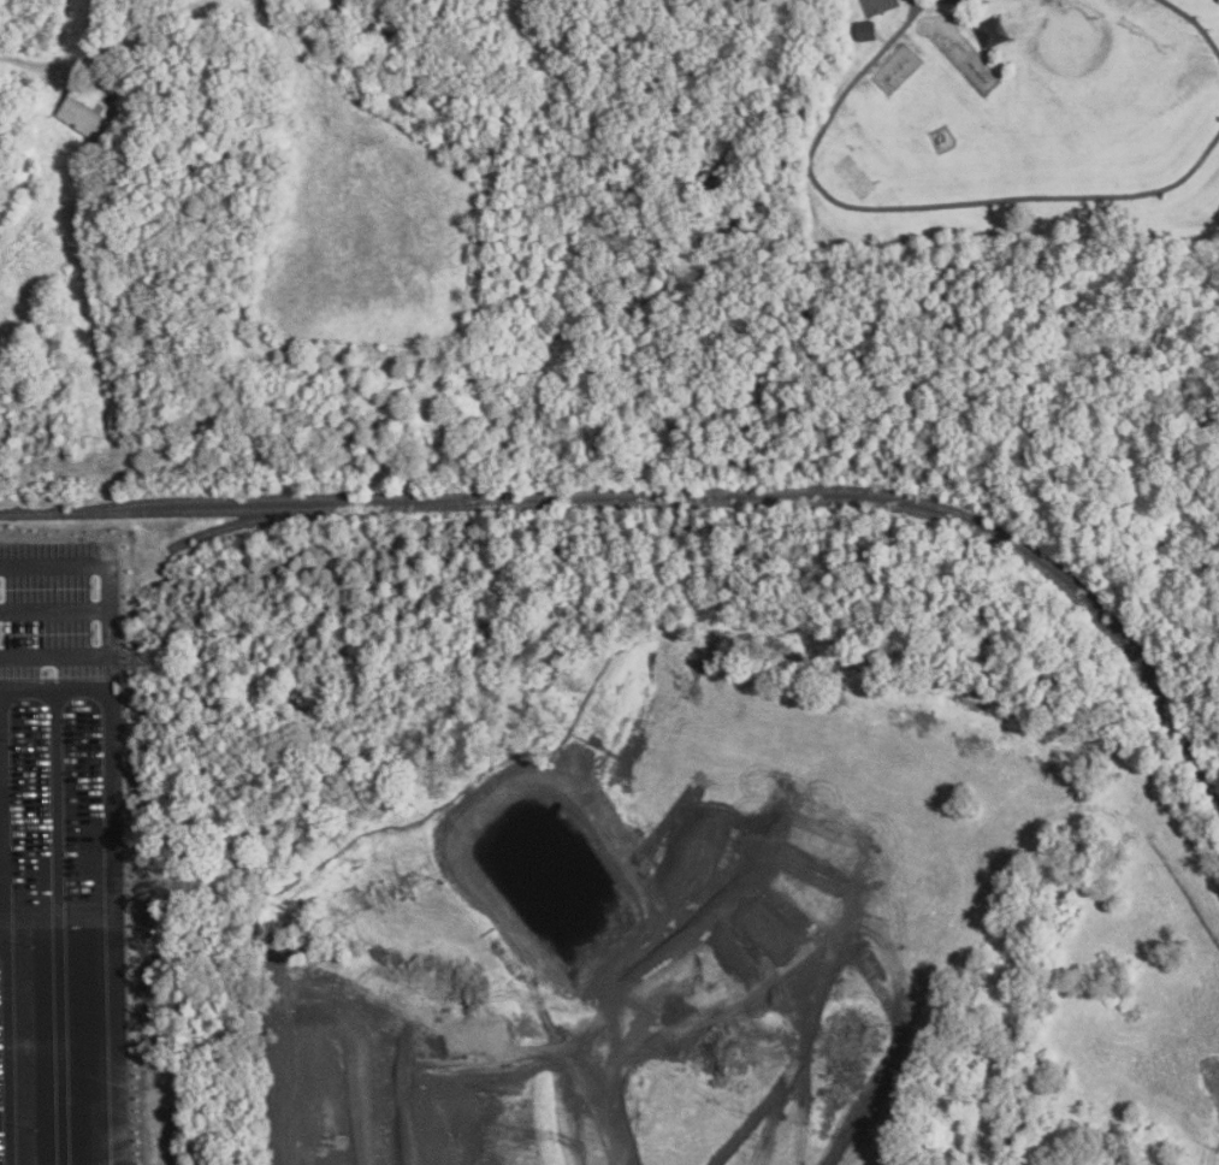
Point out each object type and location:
building: (865, 31)
building: (91, 107)
railway: (697, 491)
railway: (475, 499)
railway: (675, 502)
railway: (134, 568)
road: (379, 1082)

